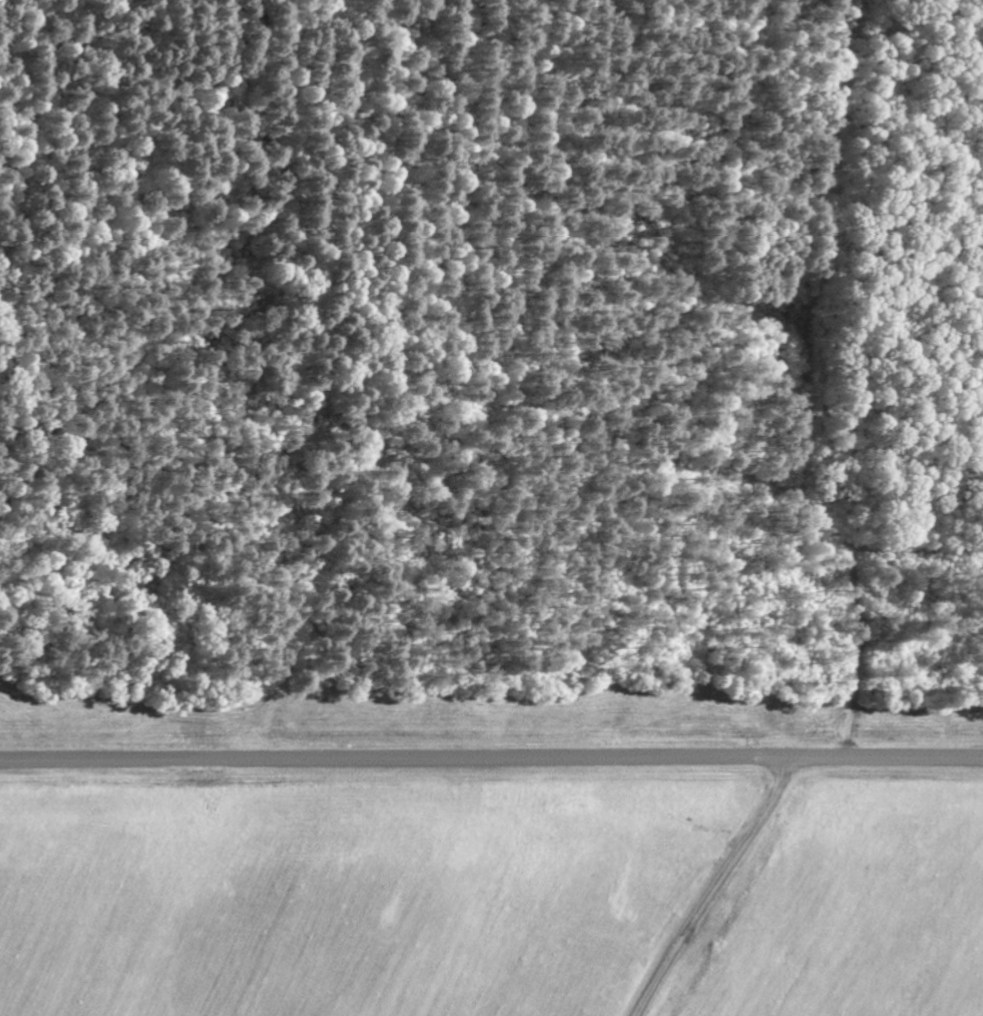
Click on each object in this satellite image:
road: (491, 761)

